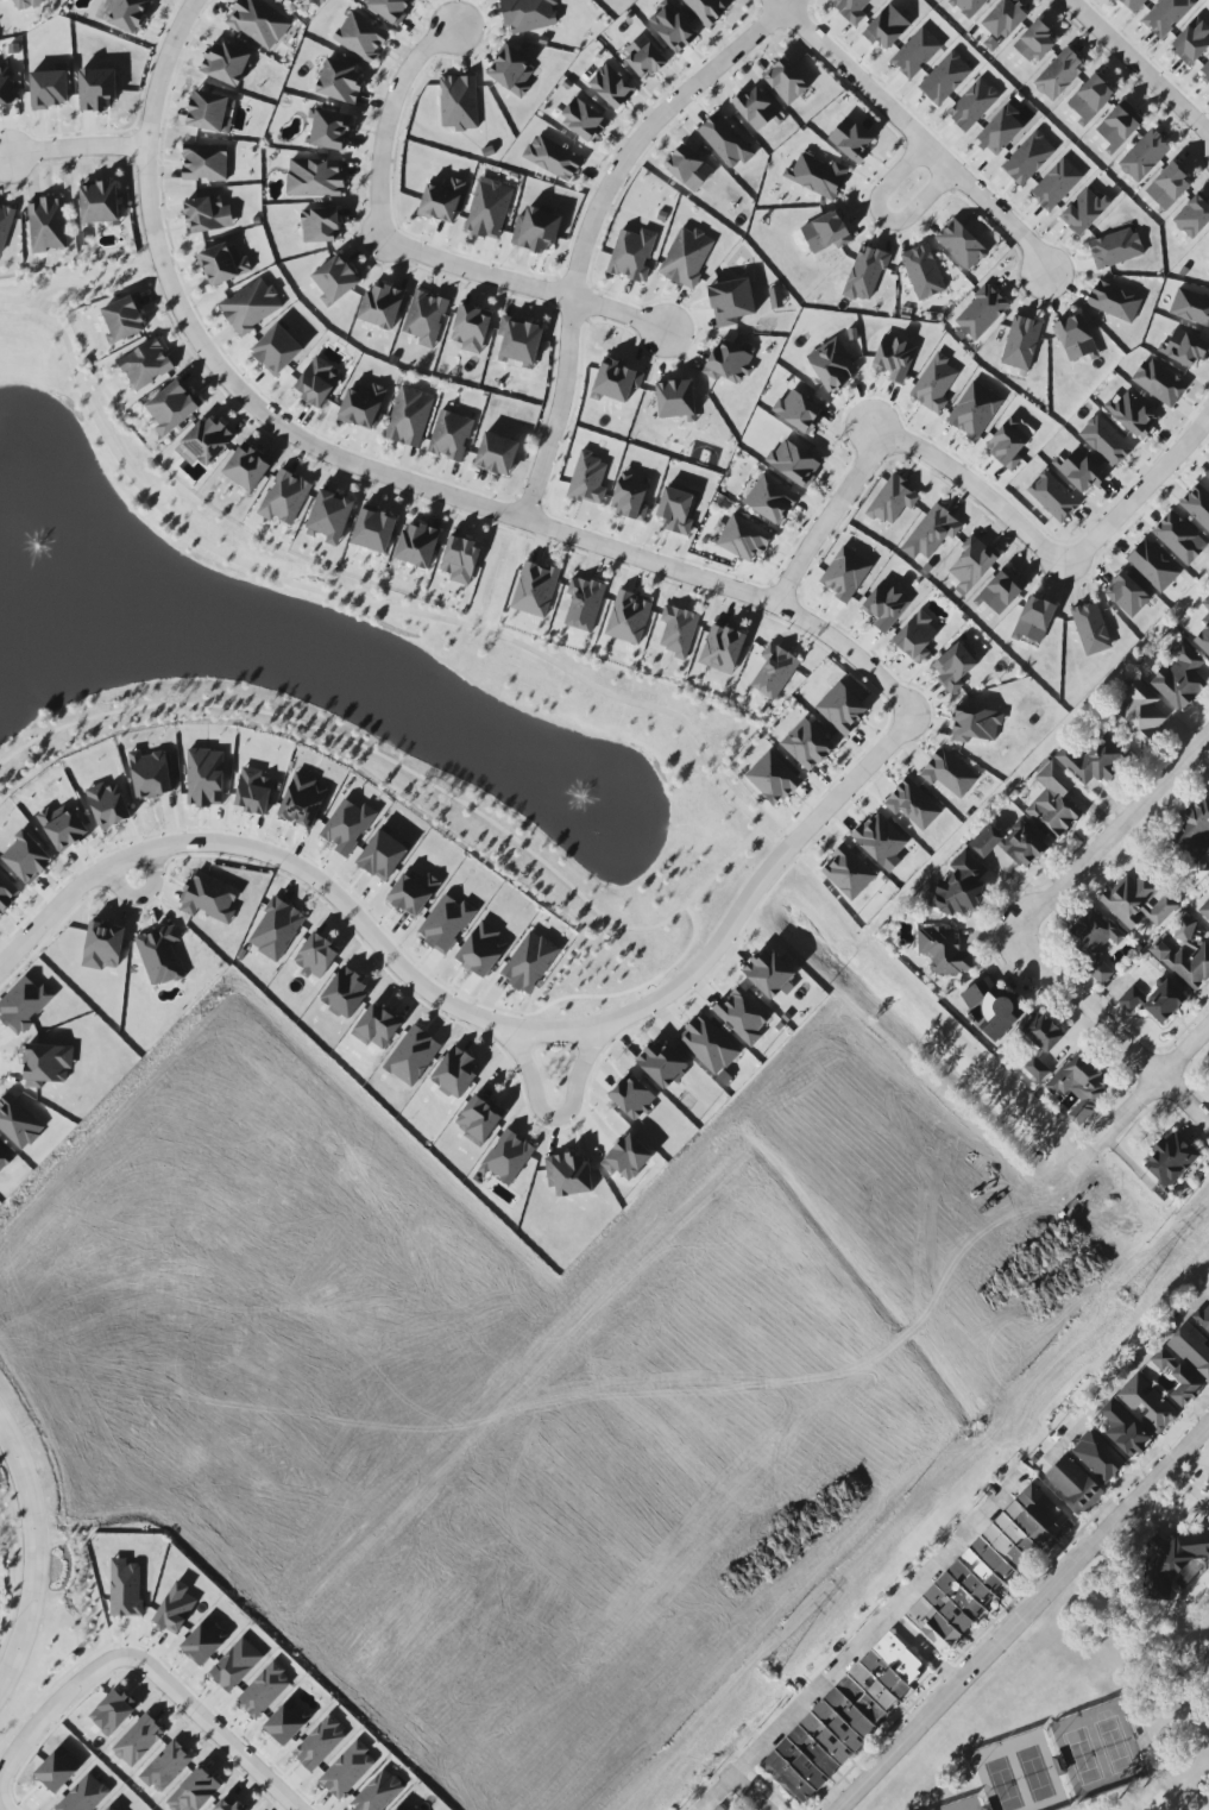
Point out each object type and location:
building: (25, 5)
building: (1133, 5)
building: (968, 6)
park: (316, 7)
building: (390, 8)
building: (707, 10)
building: (851, 10)
building: (124, 13)
building: (528, 14)
building: (1166, 15)
building: (1006, 18)
building: (259, 23)
building: (673, 26)
building: (887, 27)
building: (361, 37)
building: (1192, 42)
building: (1035, 43)
building: (915, 54)
building: (644, 57)
building: (226, 63)
road: (1138, 67)
building: (1204, 70)
building: (511, 71)
building: (1059, 75)
building: (945, 78)
building: (340, 81)
building: (786, 82)
building: (611, 87)
building: (8, 88)
building: (48, 89)
building: (96, 89)
building: (1090, 99)
building: (459, 102)
building: (972, 105)
building: (756, 109)
building: (207, 111)
building: (583, 120)
building: (1119, 126)
building: (330, 130)
building: (1001, 131)
road: (914, 134)
building: (851, 140)
building: (726, 142)
road: (78, 150)
building: (1144, 156)
building: (553, 158)
building: (1028, 158)
building: (204, 162)
building: (688, 168)
building: (817, 175)
building: (315, 177)
building: (1056, 184)
building: (1169, 187)
building: (442, 201)
building: (100, 203)
building: (489, 208)
building: (1084, 212)
building: (207, 215)
road: (881, 215)
building: (1192, 216)
road: (590, 222)
building: (46, 225)
building: (320, 225)
building: (5, 226)
building: (536, 230)
building: (825, 232)
building: (962, 245)
building: (1115, 249)
road: (411, 250)
building: (632, 254)
building: (686, 257)
building: (222, 264)
building: (923, 272)
building: (865, 274)
building: (335, 279)
road: (94, 290)
building: (775, 297)
building: (1114, 301)
building: (731, 302)
building: (382, 306)
building: (251, 307)
building: (1191, 307)
building: (981, 313)
building: (426, 318)
building: (125, 319)
building: (471, 328)
building: (1076, 339)
building: (520, 342)
building: (1021, 342)
building: (1184, 348)
building: (277, 350)
building: (894, 358)
building: (729, 363)
building: (145, 364)
building: (832, 365)
building: (616, 381)
building: (1160, 382)
building: (316, 383)
building: (934, 384)
building: (676, 400)
building: (363, 406)
building: (172, 407)
building: (799, 410)
building: (974, 410)
building: (1132, 414)
building: (409, 416)
building: (451, 435)
building: (1009, 441)
building: (1104, 441)
building: (206, 442)
road: (896, 442)
building: (497, 454)
building: (794, 463)
building: (247, 467)
building: (1082, 471)
building: (1208, 476)
building: (587, 479)
road: (1140, 491)
building: (285, 497)
building: (630, 497)
building: (1053, 497)
building: (770, 499)
building: (893, 501)
road: (478, 505)
building: (1197, 505)
building: (676, 510)
building: (329, 516)
building: (374, 529)
building: (931, 533)
building: (1178, 538)
building: (743, 539)
building: (417, 545)
building: (460, 559)
building: (972, 566)
building: (1153, 566)
building: (845, 573)
building: (535, 590)
building: (1001, 592)
building: (1127, 595)
building: (584, 603)
building: (1205, 603)
road: (370, 604)
building: (886, 605)
building: (628, 617)
building: (1034, 621)
building: (1091, 628)
building: (678, 630)
building: (917, 637)
building: (1202, 637)
building: (722, 648)
building: (955, 667)
park: (336, 670)
building: (774, 671)
building: (1179, 678)
building: (842, 709)
building: (1139, 712)
building: (976, 724)
building: (807, 744)
building: (1092, 759)
road: (415, 773)
building: (949, 773)
building: (151, 774)
building: (204, 778)
building: (773, 778)
building: (253, 792)
building: (302, 800)
building: (1053, 800)
building: (108, 805)
building: (913, 805)
building: (347, 827)
building: (63, 828)
building: (1195, 830)
road: (1113, 834)
building: (881, 841)
building: (1010, 844)
building: (383, 855)
building: (26, 857)
building: (849, 873)
building: (962, 887)
building: (7, 892)
building: (414, 892)
building: (209, 898)
building: (1139, 901)
building: (1204, 910)
building: (446, 923)
building: (276, 929)
building: (1095, 942)
building: (103, 945)
road: (391, 950)
building: (481, 950)
building: (943, 950)
building: (160, 955)
building: (316, 955)
building: (1185, 957)
building: (529, 961)
building: (770, 975)
building: (345, 993)
building: (1132, 999)
building: (1165, 1001)
building: (24, 1004)
building: (994, 1007)
building: (743, 1016)
road: (1113, 1029)
building: (1043, 1031)
building: (709, 1044)
building: (46, 1064)
building: (662, 1064)
building: (1037, 1069)
building: (455, 1073)
road: (1154, 1082)
building: (1079, 1086)
building: (632, 1098)
road: (552, 1117)
building: (478, 1119)
building: (508, 1157)
building: (1171, 1159)
building: (568, 1174)
power tower: (1125, 1300)
building: (1203, 1319)
building: (1191, 1350)
building: (1161, 1359)
park: (84, 1362)
road: (1135, 1369)
building: (1184, 1387)
building: (1147, 1403)
building: (1125, 1431)
building: (1098, 1456)
building: (1208, 1482)
building: (1075, 1484)
road: (34, 1557)
building: (1171, 1560)
building: (986, 1567)
building: (125, 1588)
building: (175, 1609)
road: (1025, 1615)
building: (204, 1642)
road: (863, 1642)
road: (924, 1649)
road: (165, 1661)
building: (235, 1665)
power tower: (767, 1673)
road: (132, 1674)
building: (264, 1690)
road: (53, 1708)
building: (113, 1711)
park: (1081, 1715)
building: (843, 1718)
building: (288, 1722)
road: (212, 1733)
building: (138, 1740)
building: (320, 1743)
building: (166, 1767)
building: (58, 1770)
building: (347, 1770)
building: (195, 1791)
building: (377, 1791)
road: (753, 1793)
building: (84, 1795)
road: (1, 1805)
building: (225, 1805)
building: (405, 1806)
building: (111, 1808)
building: (719, 1808)

